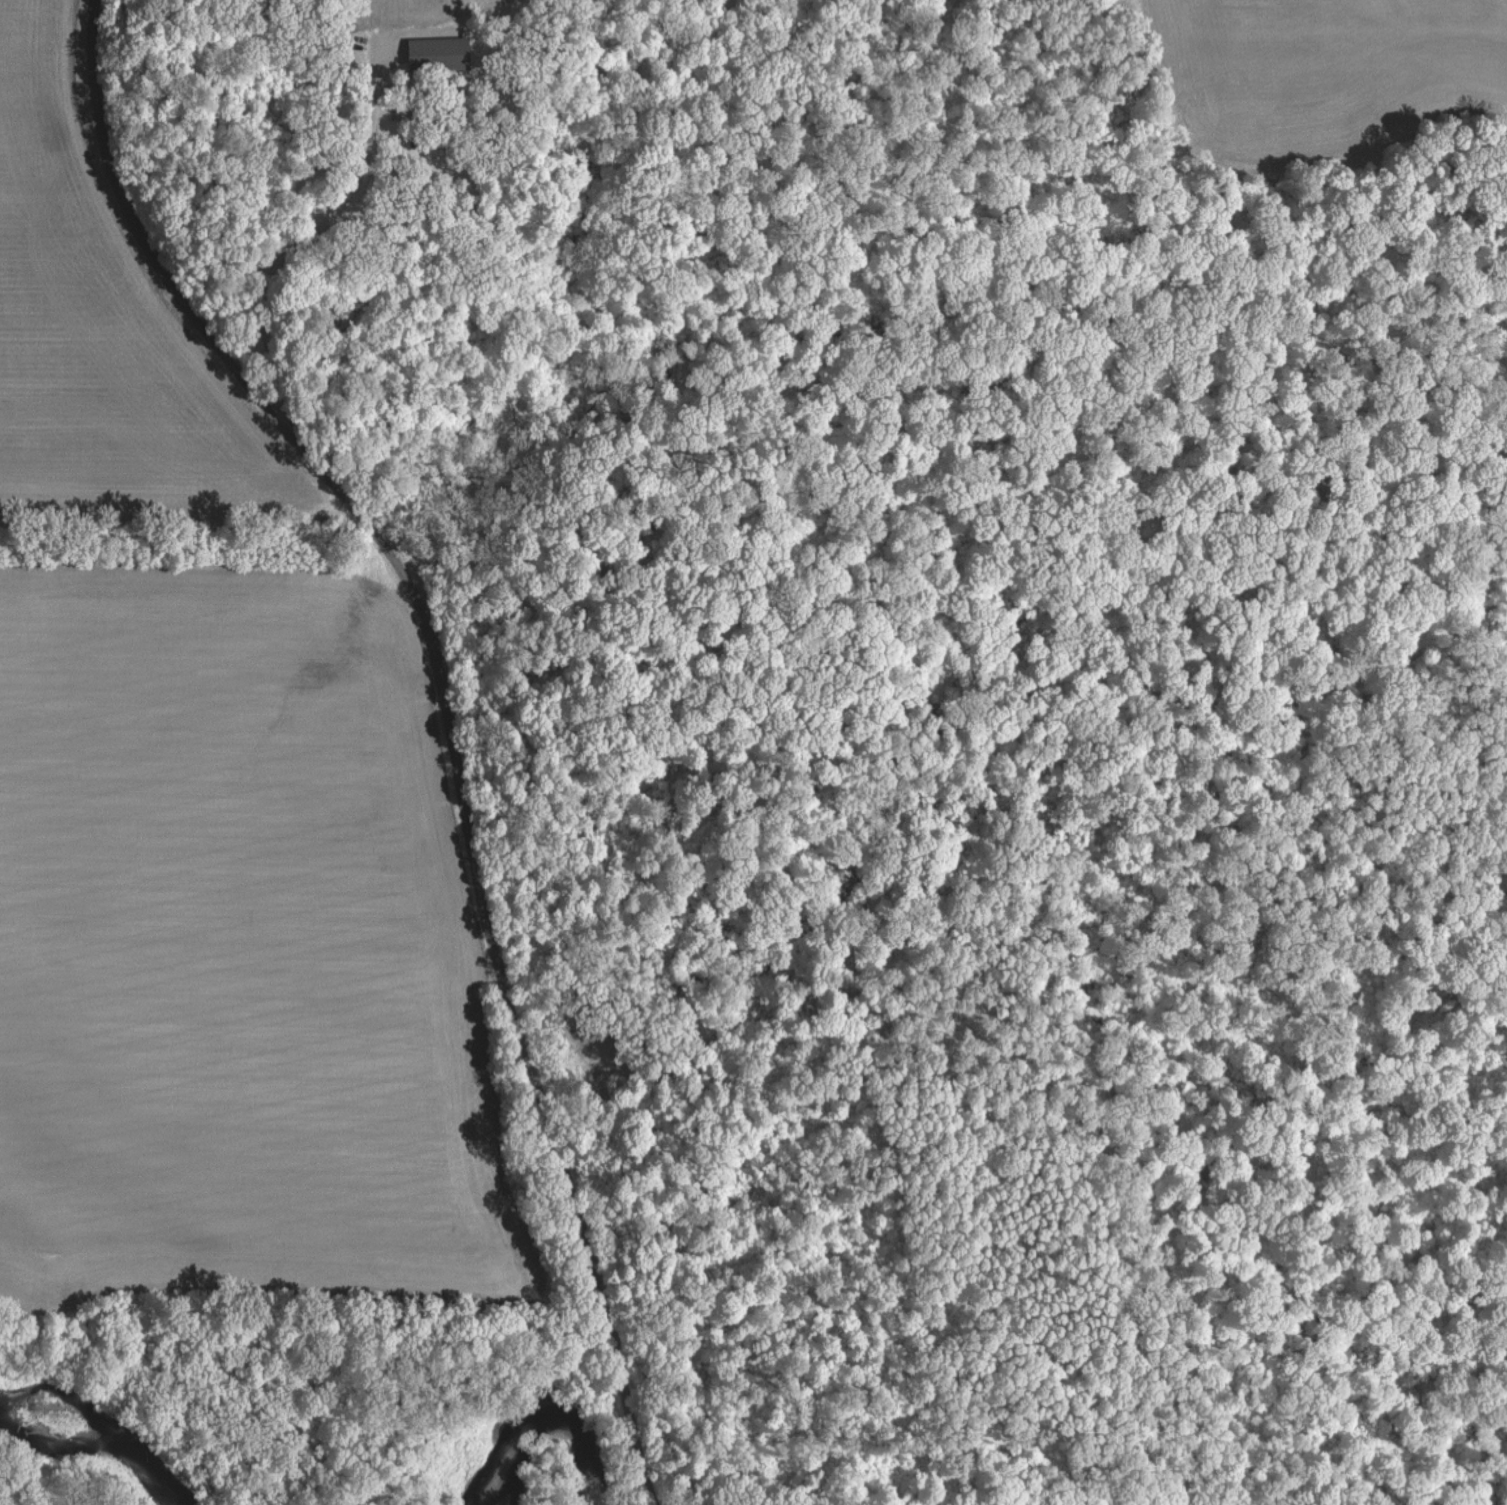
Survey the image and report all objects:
road: (135, 220)
road: (350, 226)
road: (491, 936)

